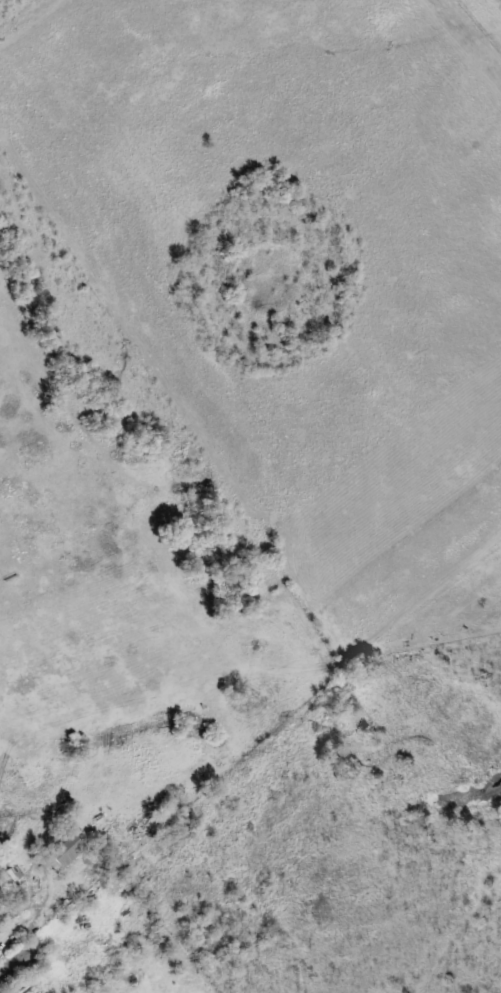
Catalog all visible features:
building: (68, 851)
building: (52, 863)
building: (14, 887)

